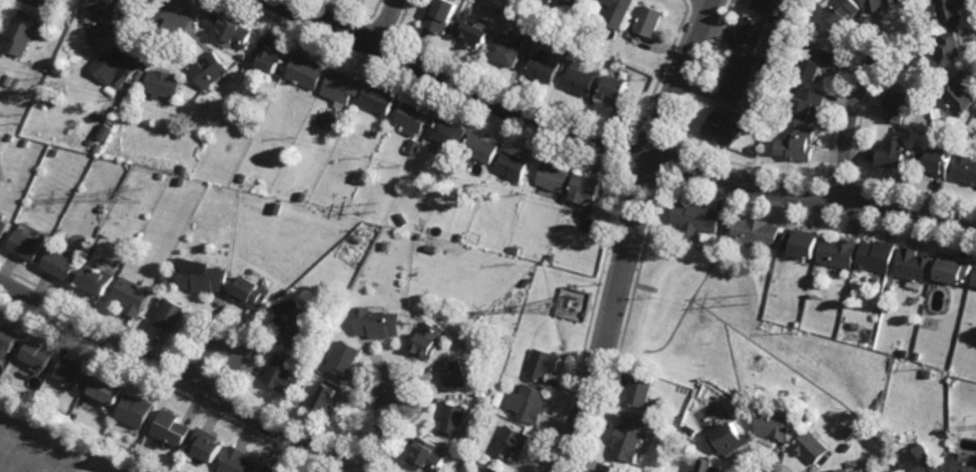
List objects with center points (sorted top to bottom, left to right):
building: (43, 1)
building: (584, 1)
building: (887, 1)
building: (763, 4)
building: (874, 4)
road: (173, 10)
building: (776, 10)
building: (841, 10)
building: (953, 10)
building: (618, 12)
building: (442, 14)
building: (105, 19)
building: (649, 20)
road: (386, 23)
building: (21, 30)
building: (543, 30)
building: (234, 31)
building: (473, 31)
building: (751, 31)
building: (576, 44)
building: (951, 46)
building: (505, 49)
building: (270, 52)
building: (241, 56)
building: (255, 57)
building: (815, 58)
building: (122, 60)
building: (543, 67)
building: (208, 69)
building: (305, 69)
building: (738, 75)
building: (8, 79)
building: (580, 80)
building: (162, 82)
building: (341, 86)
building: (618, 90)
building: (961, 91)
building: (378, 97)
building: (808, 101)
building: (898, 104)
building: (785, 109)
power tower: (24, 117)
building: (411, 117)
road: (847, 121)
building: (721, 128)
building: (449, 132)
building: (10, 136)
building: (956, 140)
building: (26, 141)
building: (797, 143)
road: (617, 144)
building: (98, 146)
building: (413, 146)
building: (482, 148)
building: (752, 150)
building: (54, 151)
building: (891, 152)
building: (935, 161)
building: (513, 165)
building: (183, 169)
building: (966, 169)
building: (161, 174)
building: (355, 176)
building: (553, 176)
building: (243, 177)
building: (181, 180)
building: (371, 182)
building: (586, 187)
power tower: (127, 191)
building: (277, 204)
power tower: (381, 205)
building: (696, 217)
building: (404, 220)
building: (491, 223)
building: (2, 226)
building: (756, 231)
road: (631, 234)
building: (461, 236)
building: (360, 237)
building: (802, 242)
building: (25, 245)
building: (386, 245)
building: (433, 248)
building: (515, 249)
building: (837, 252)
building: (876, 255)
building: (551, 258)
building: (767, 260)
building: (60, 264)
building: (915, 265)
building: (955, 270)
building: (204, 277)
building: (96, 278)
building: (164, 280)
building: (874, 281)
building: (975, 282)
building: (941, 286)
building: (252, 293)
building: (131, 296)
power tower: (752, 300)
power tower: (579, 305)
building: (171, 315)
building: (292, 323)
building: (379, 323)
building: (797, 323)
building: (856, 325)
building: (7, 338)
road: (227, 339)
building: (428, 341)
building: (905, 352)
building: (37, 354)
building: (918, 355)
building: (345, 359)
building: (541, 363)
building: (72, 372)
building: (929, 374)
building: (282, 375)
building: (456, 375)
road: (180, 378)
building: (106, 389)
building: (641, 390)
building: (330, 397)
building: (527, 402)
building: (135, 410)
building: (455, 418)
building: (679, 418)
building: (775, 425)
building: (171, 429)
road: (377, 432)
building: (691, 432)
building: (629, 437)
building: (729, 439)
building: (510, 440)
building: (206, 446)
building: (811, 447)
building: (847, 447)
building: (429, 456)
building: (479, 461)
building: (921, 461)
building: (239, 462)
building: (965, 463)
building: (710, 466)
building: (610, 468)
building: (272, 469)
building: (494, 470)
building: (841, 471)

